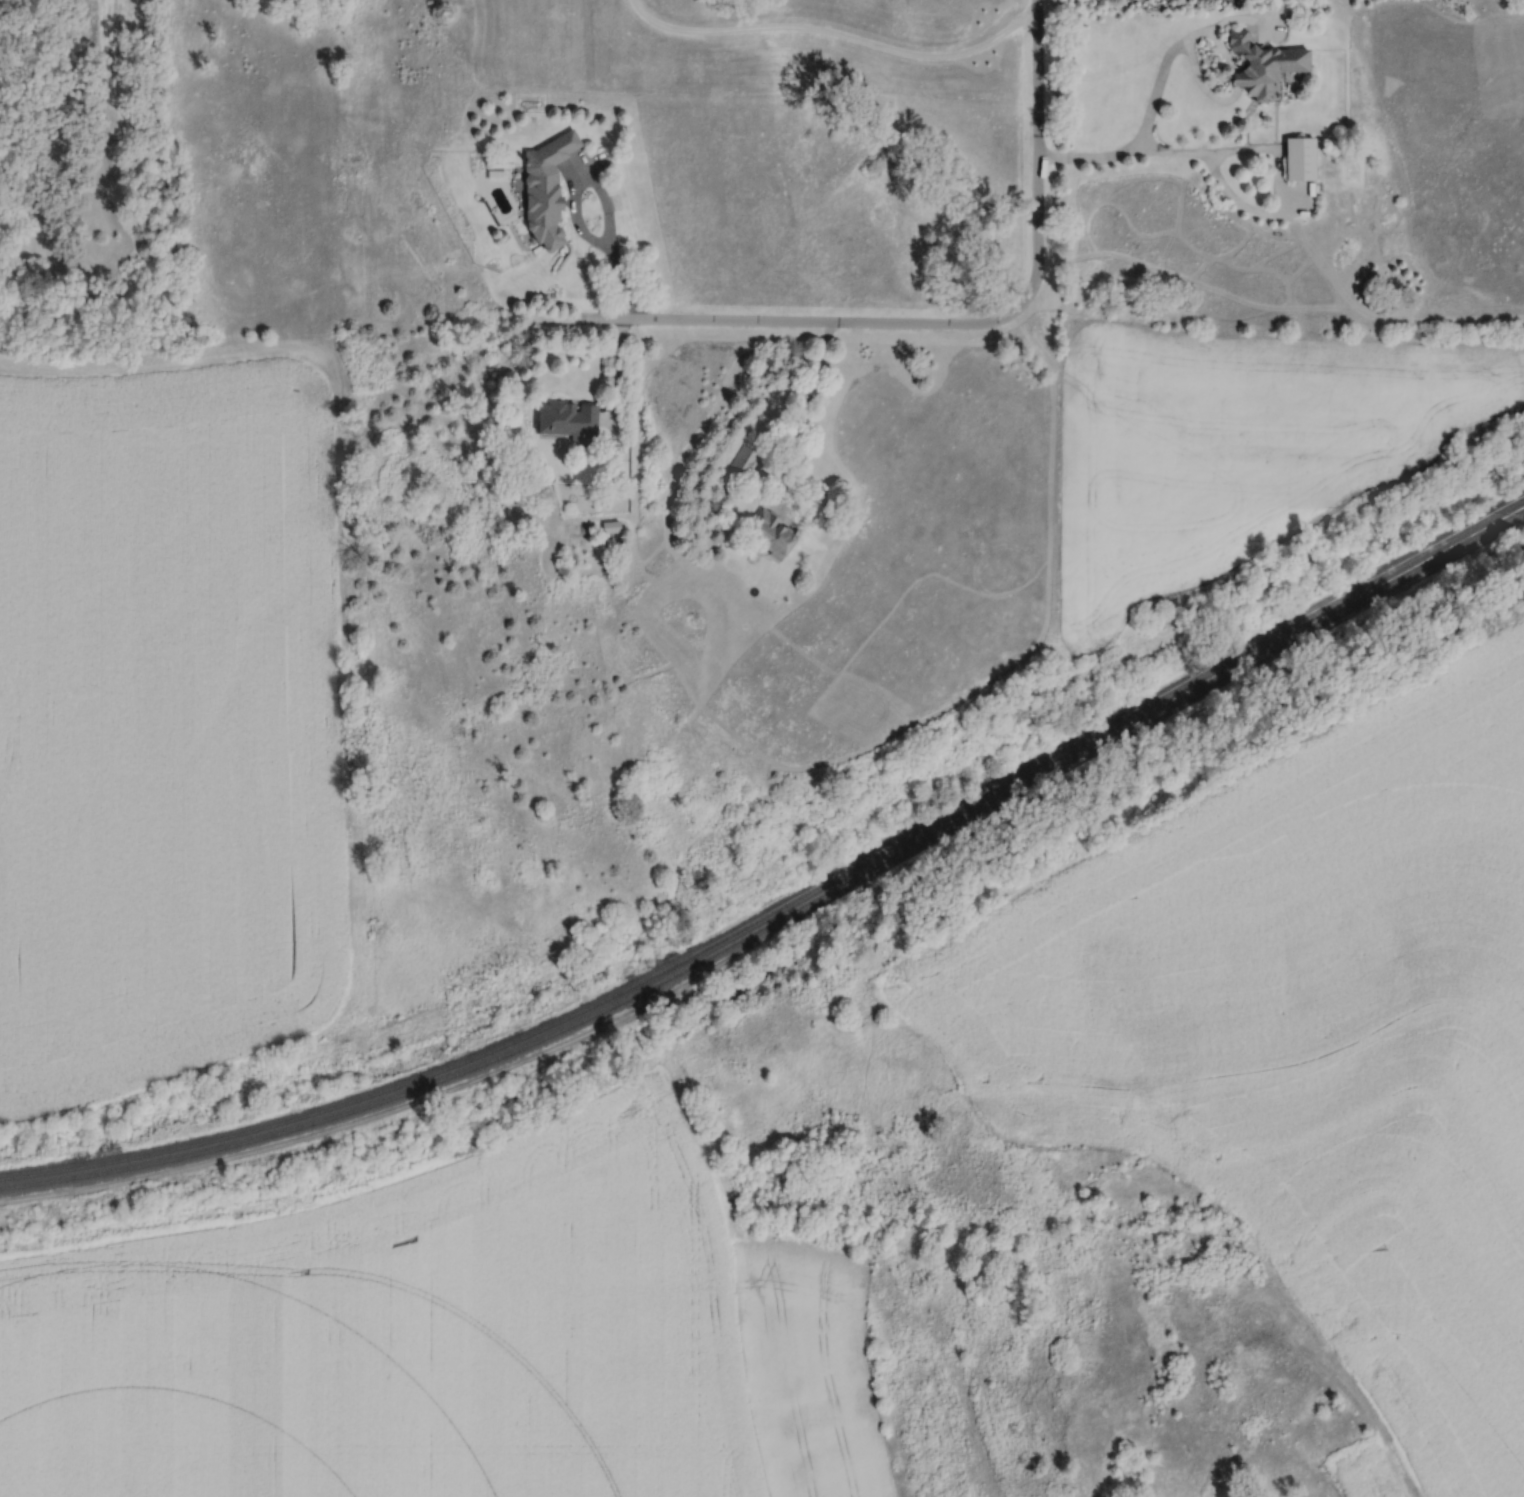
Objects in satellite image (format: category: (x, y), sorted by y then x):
road: (835, 32)
building: (1263, 65)
road: (1156, 98)
road: (1039, 153)
building: (1299, 158)
road: (1277, 164)
building: (546, 188)
road: (599, 188)
road: (791, 321)
road: (122, 364)
road: (619, 372)
road: (806, 404)
building: (567, 418)
building: (746, 461)
railway: (788, 904)
railway: (788, 913)

